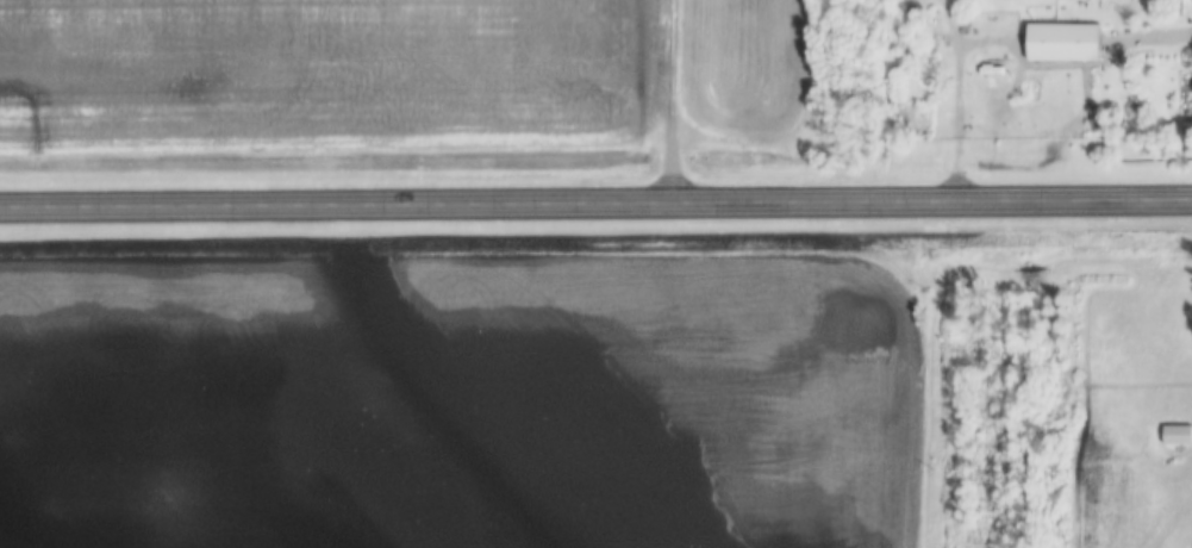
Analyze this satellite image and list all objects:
building: (1177, 11)
road: (1153, 41)
building: (1062, 45)
crop: (739, 67)
crop: (325, 76)
road: (595, 205)
crop: (454, 404)

